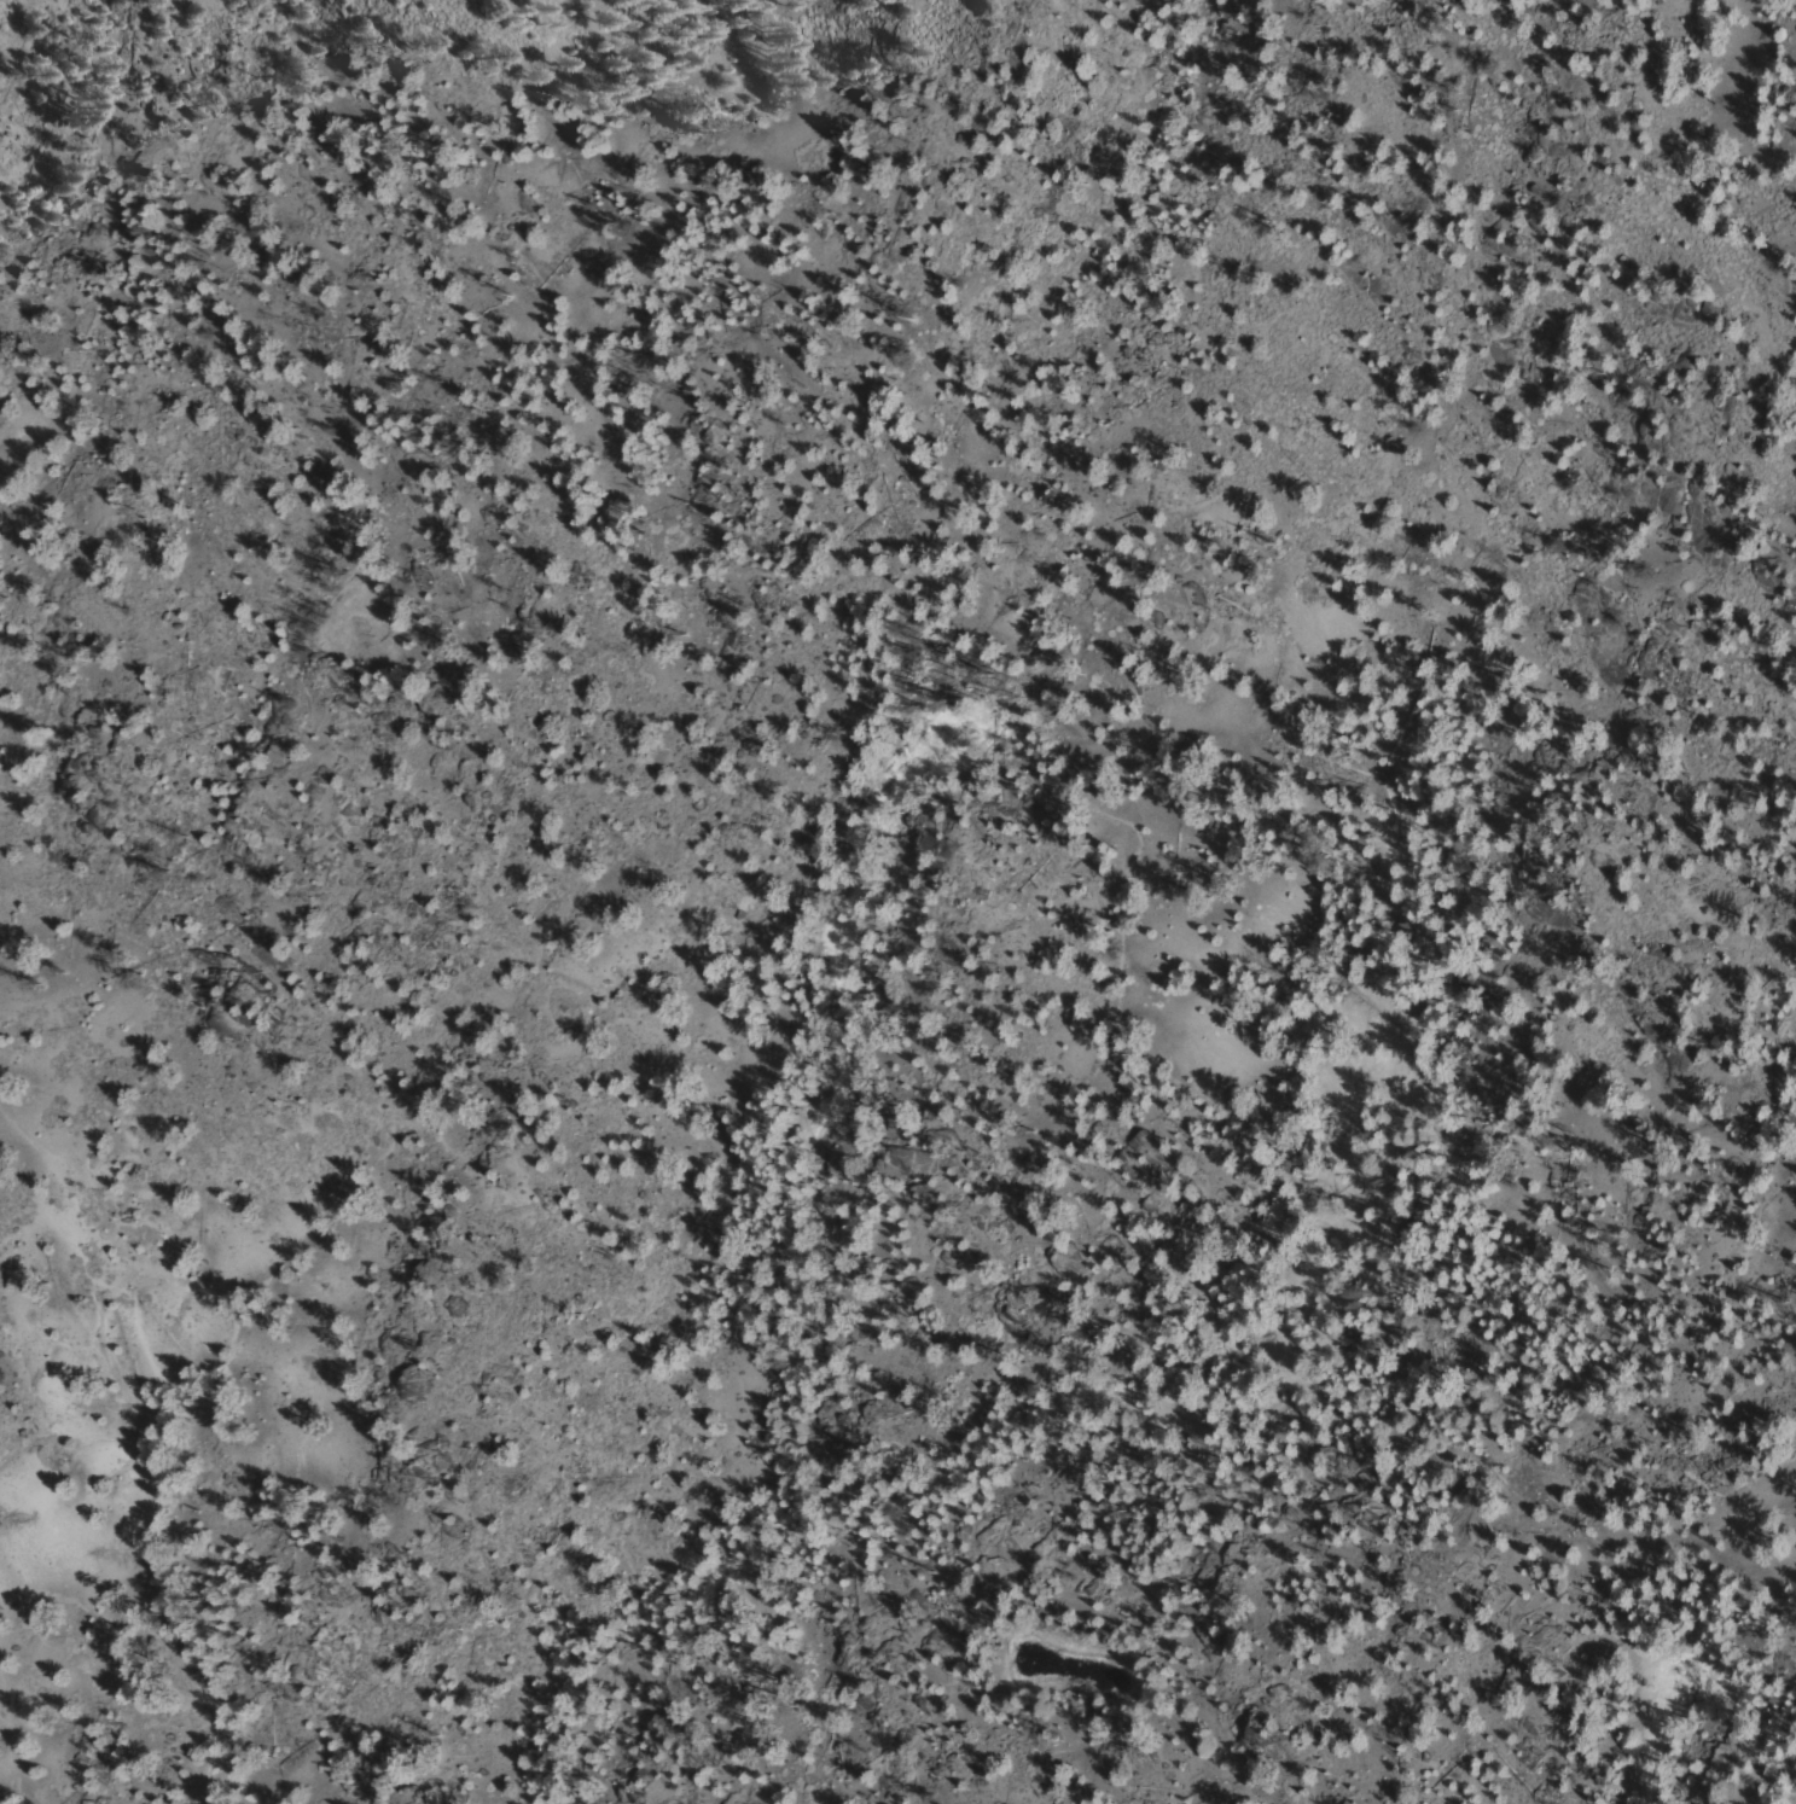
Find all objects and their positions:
road: (197, 1410)

